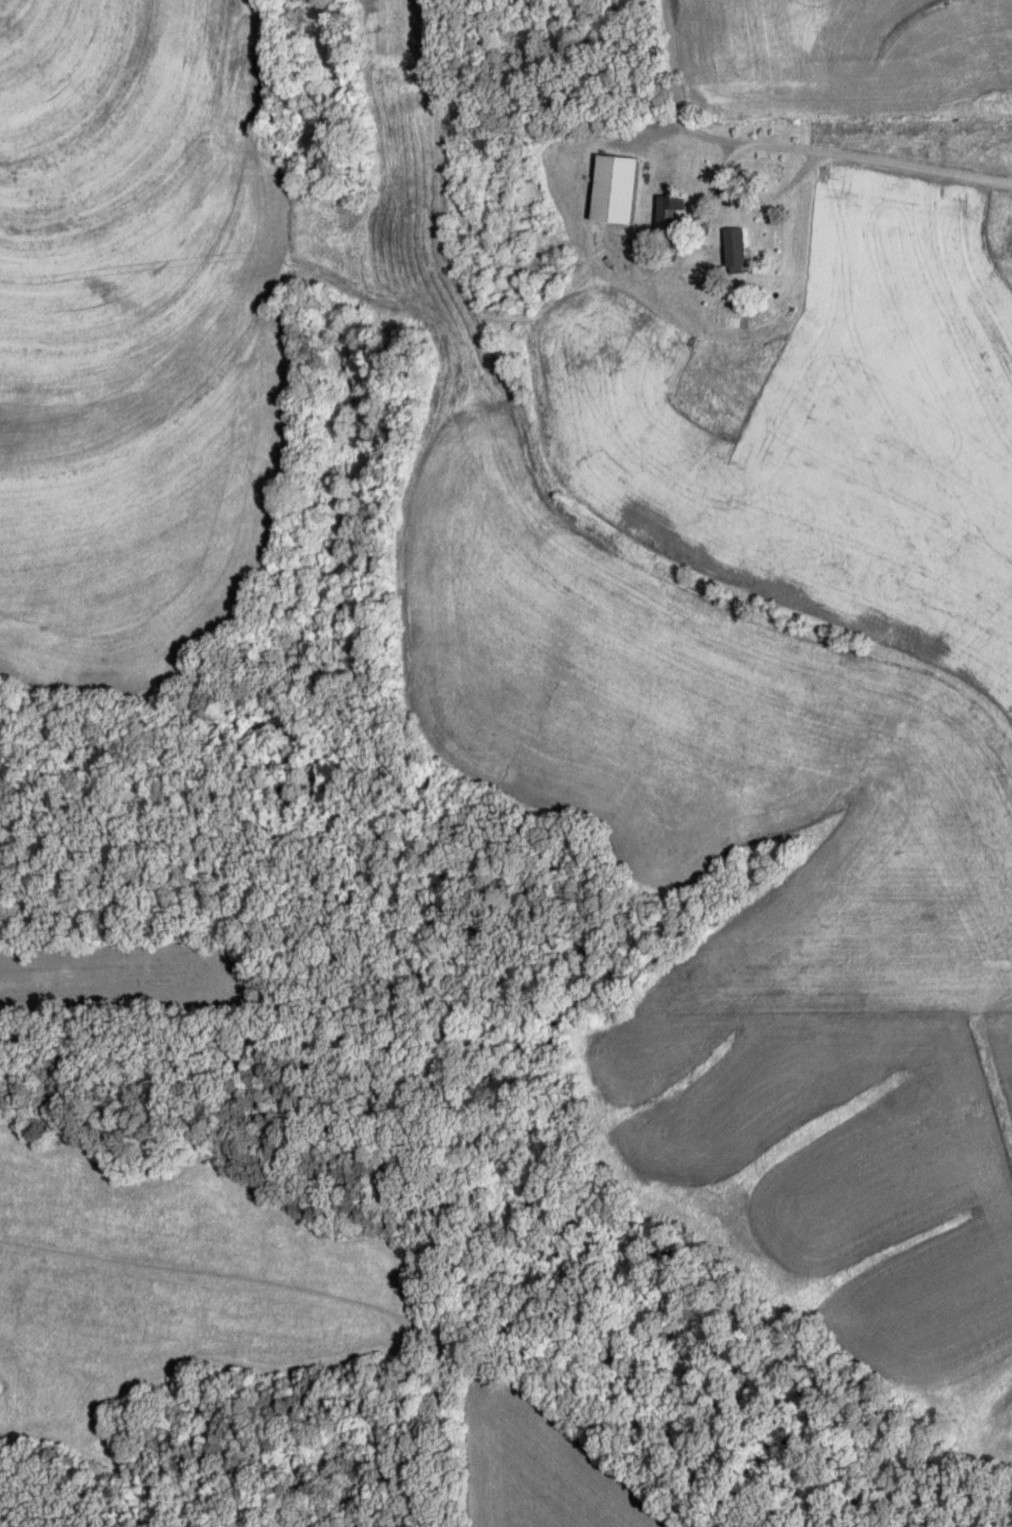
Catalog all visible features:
road: (774, 134)
building: (614, 192)
building: (668, 219)
building: (737, 251)

